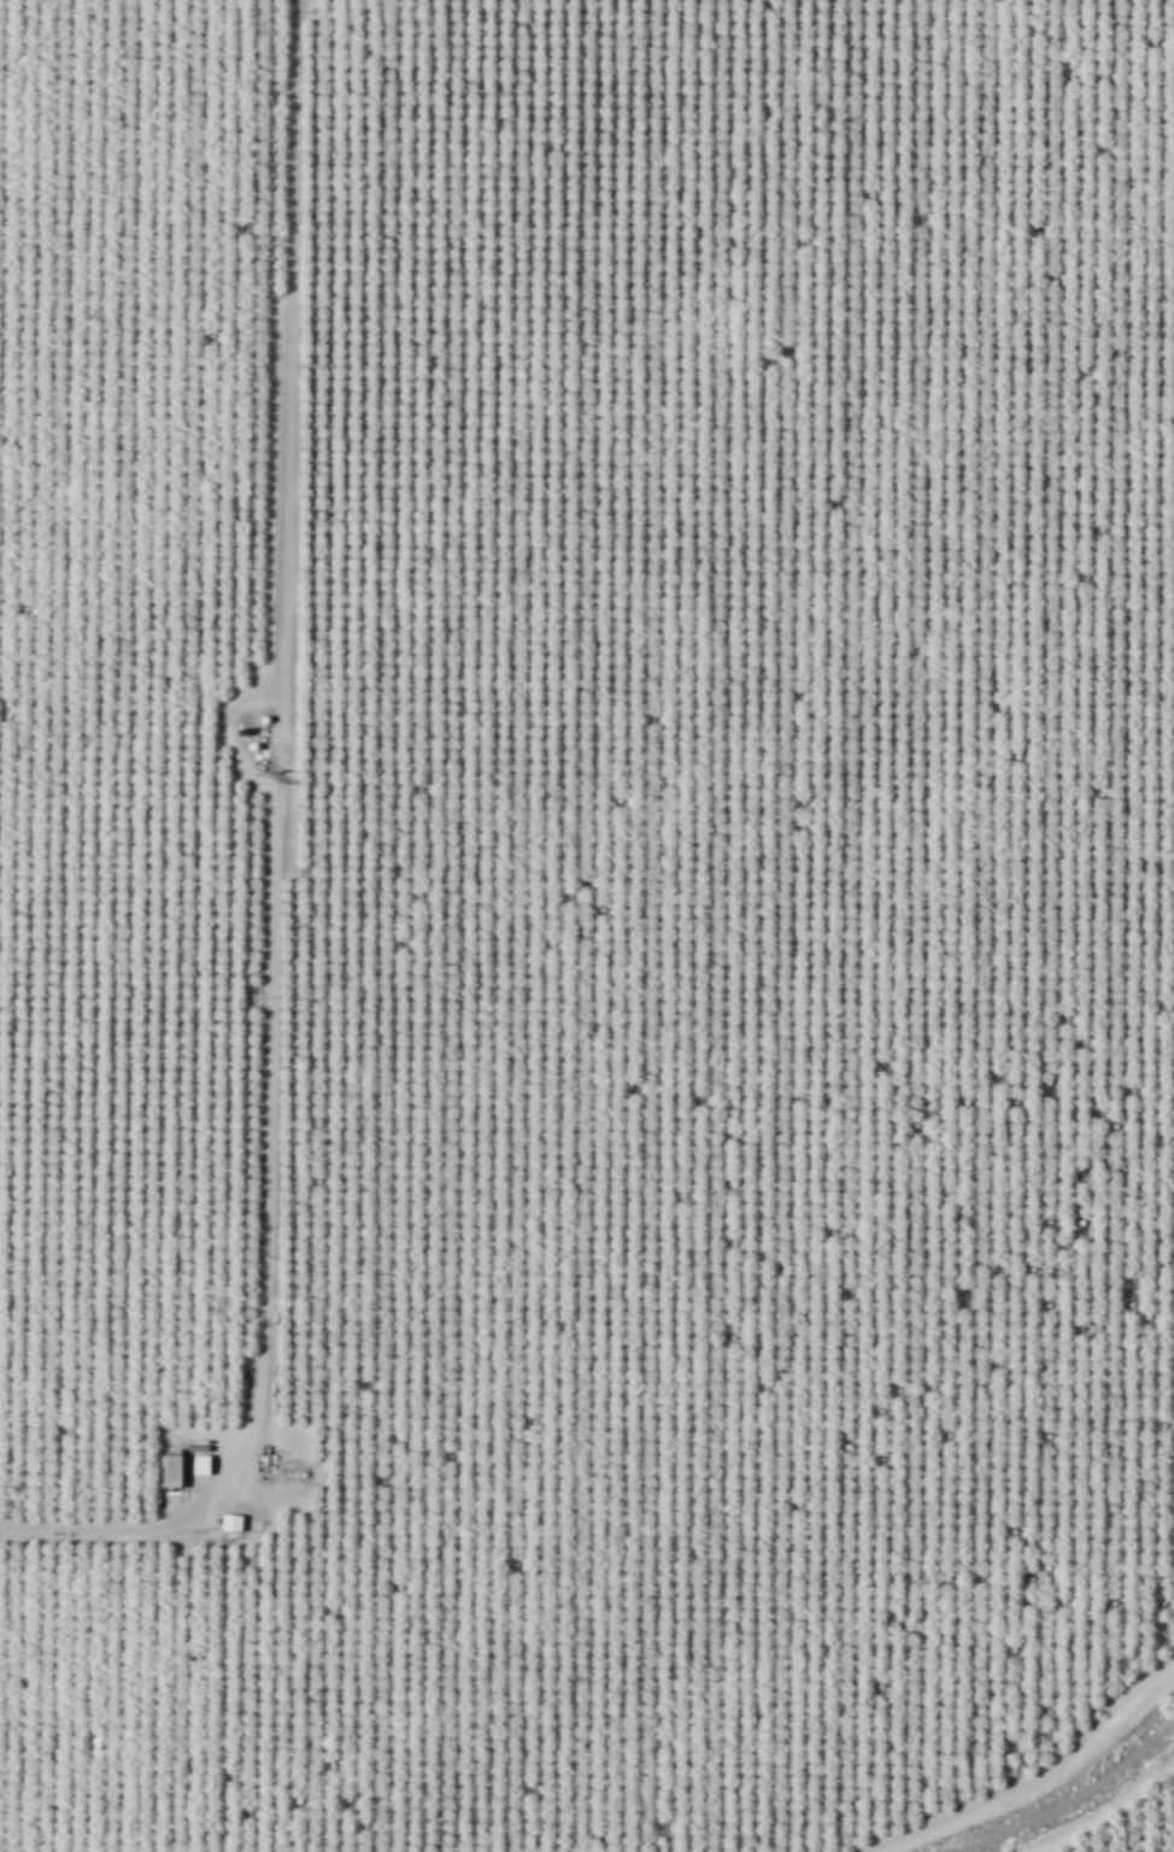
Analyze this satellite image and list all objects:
road: (280, 784)
building: (200, 1464)
building: (170, 1470)
building: (230, 1522)
road: (81, 1525)
road: (1040, 1778)
road: (1107, 1810)

